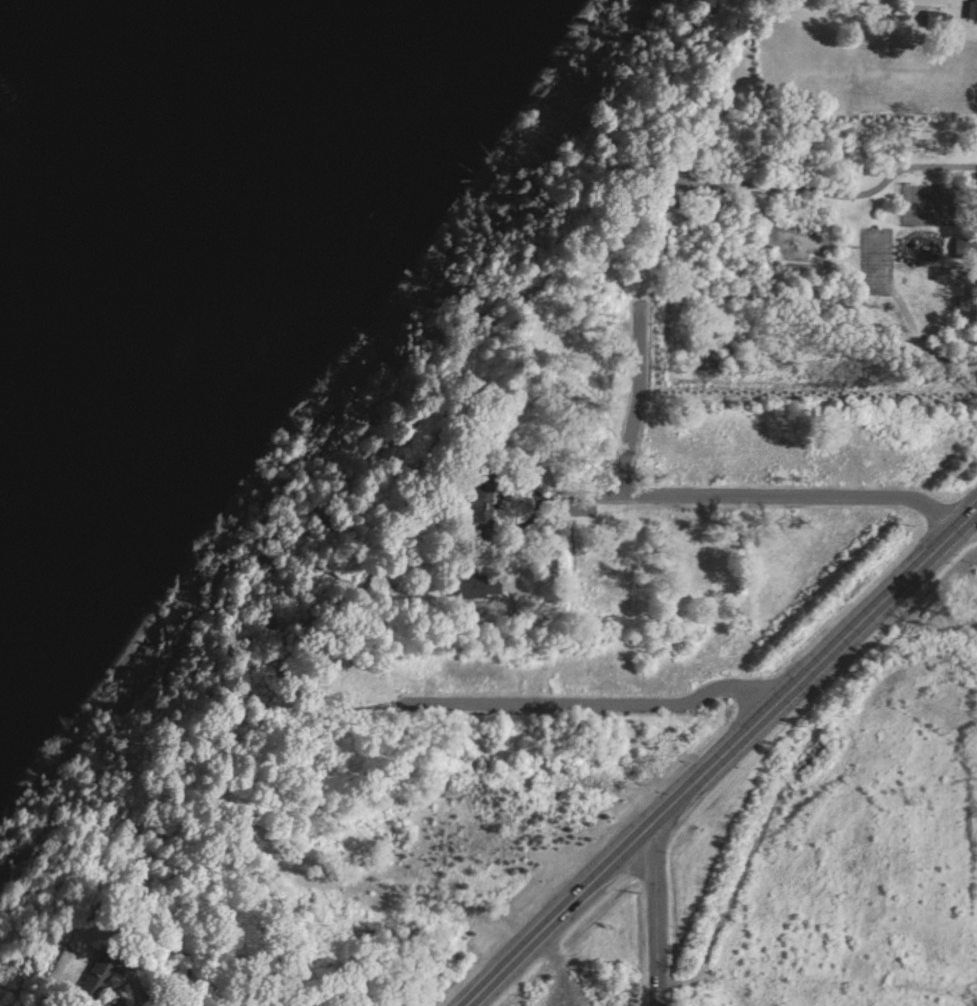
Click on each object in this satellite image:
building: (970, 10)
building: (931, 20)
road: (830, 199)
building: (964, 248)
road: (744, 299)
road: (766, 499)
building: (481, 590)
road: (722, 758)
road: (658, 913)
building: (90, 982)

